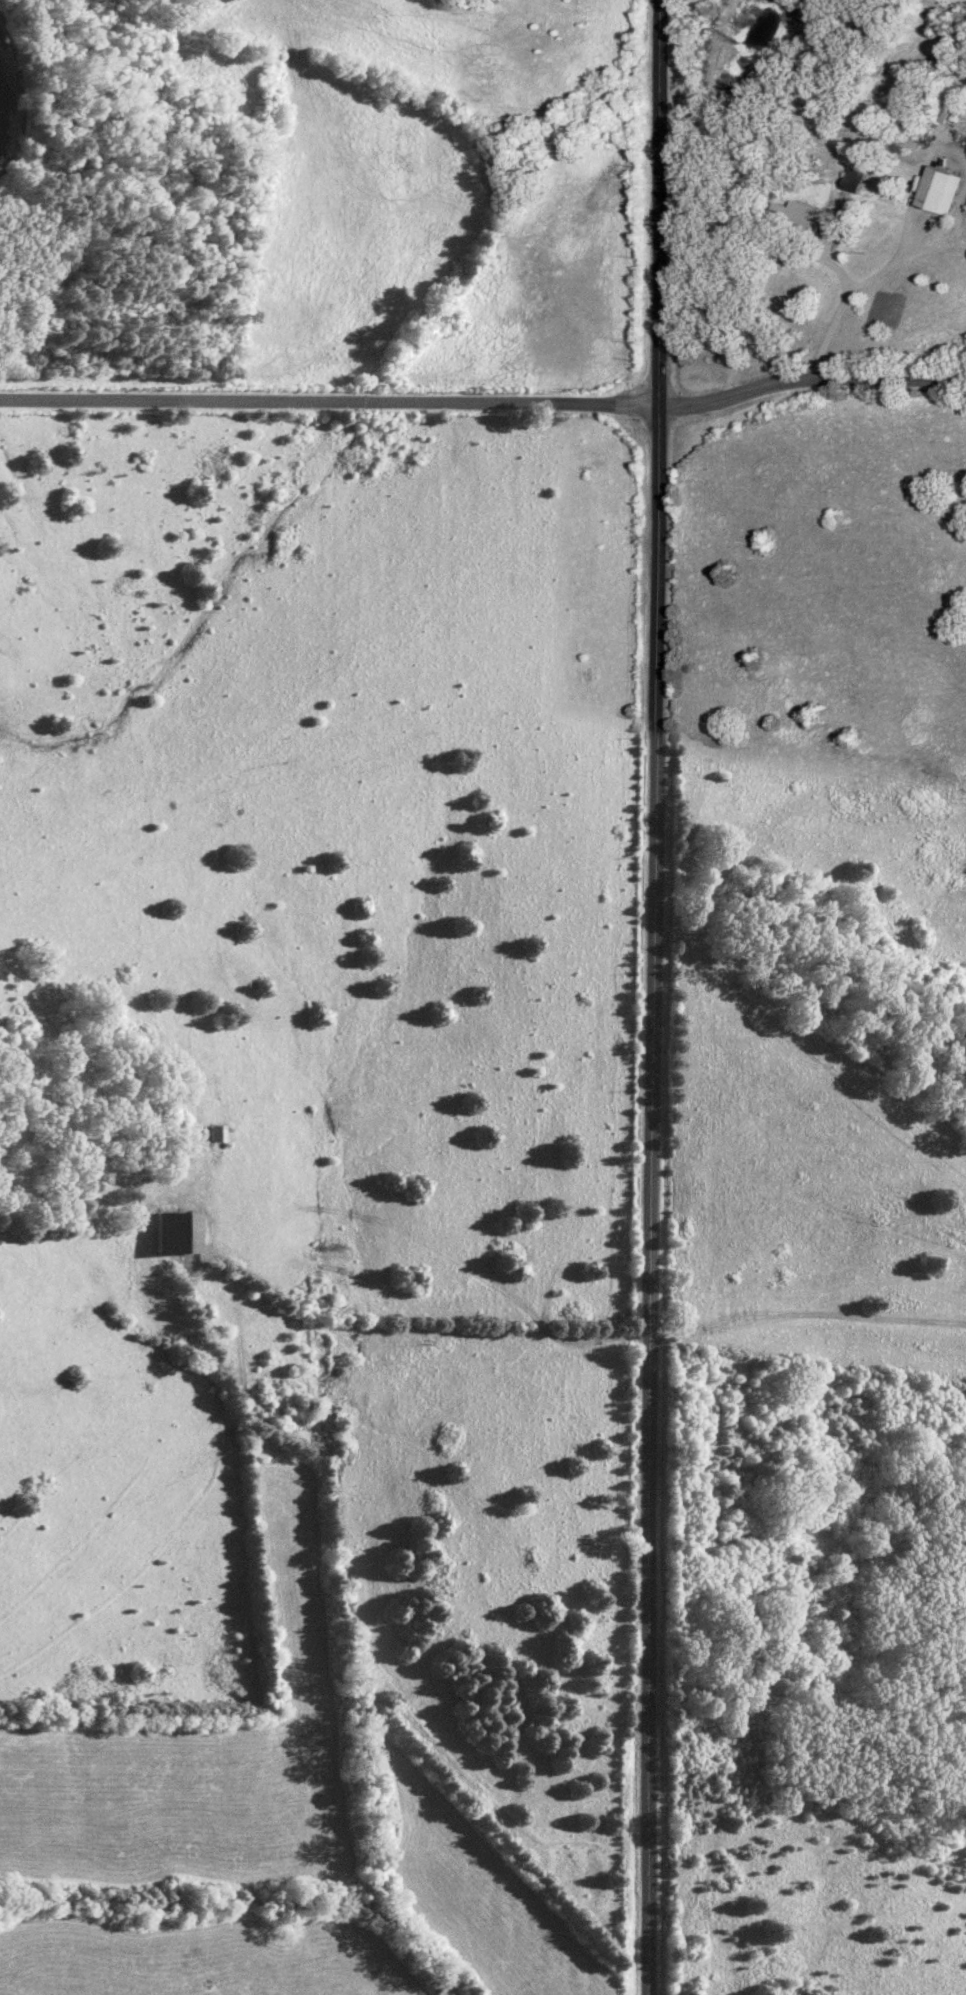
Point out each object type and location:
building: (947, 189)
road: (861, 288)
road: (812, 381)
road: (331, 406)
road: (656, 997)
building: (185, 1233)
road: (552, 1335)

